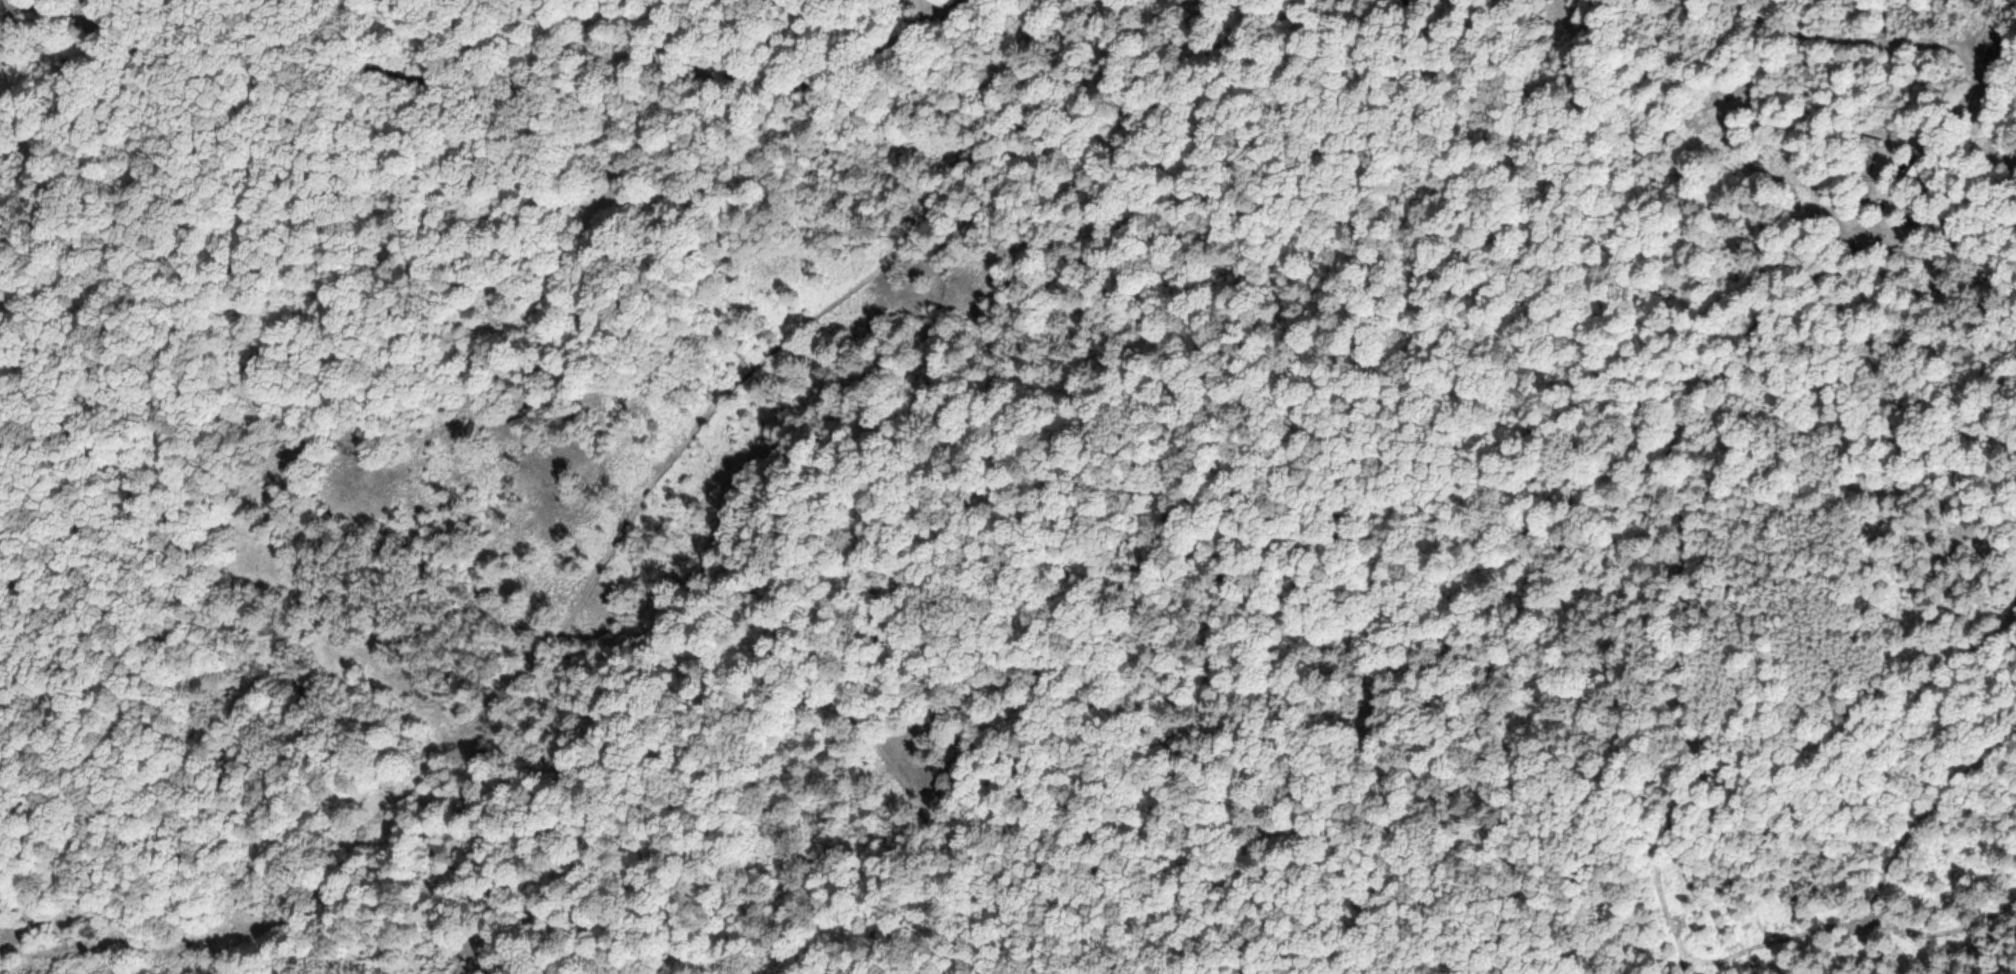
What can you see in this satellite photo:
road: (1908, 41)
road: (482, 98)
road: (1883, 199)
road: (1258, 483)
road: (596, 571)
road: (1903, 835)

